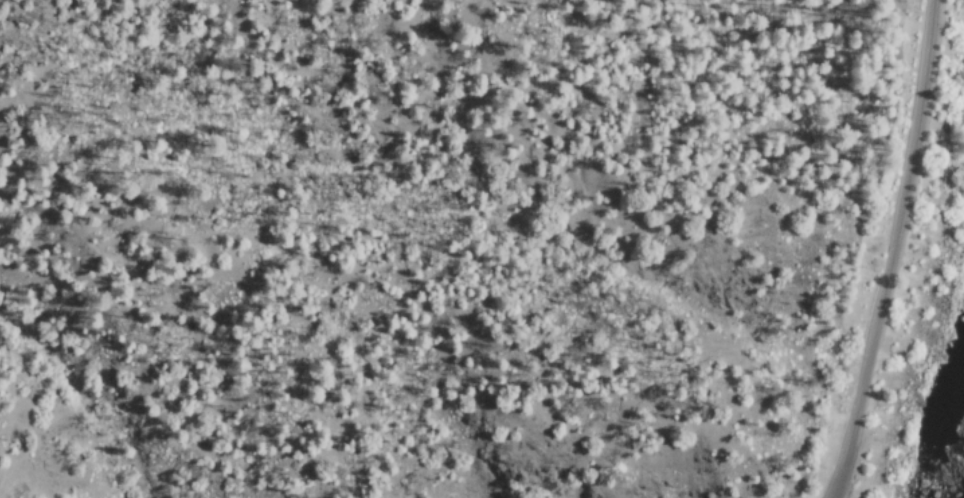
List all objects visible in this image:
road: (894, 251)
river: (950, 419)
river: (939, 480)

